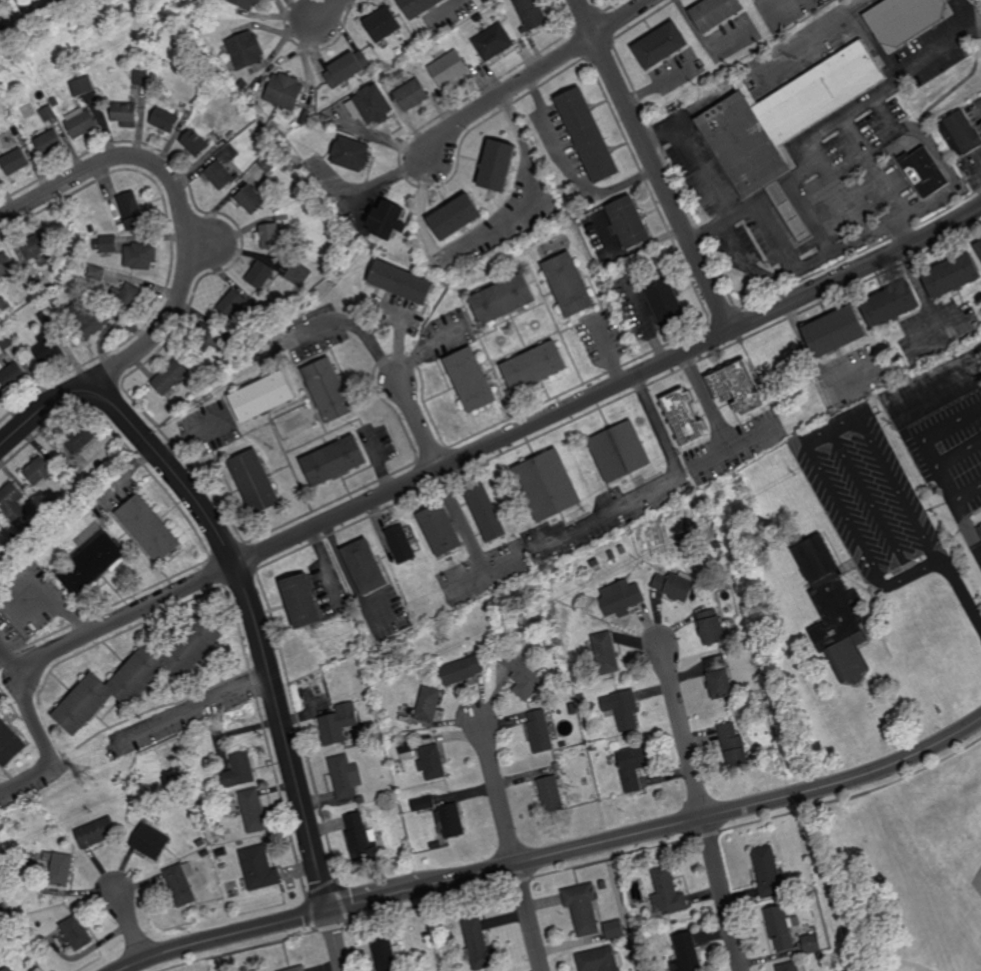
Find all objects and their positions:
building: (760, 1)
building: (244, 3)
building: (420, 8)
building: (238, 13)
road: (317, 13)
road: (966, 13)
building: (716, 14)
building: (531, 15)
building: (479, 19)
building: (906, 20)
building: (382, 25)
building: (202, 30)
road: (808, 33)
road: (877, 41)
building: (494, 43)
building: (660, 46)
building: (143, 48)
building: (246, 51)
building: (348, 70)
building: (449, 70)
road: (532, 72)
building: (76, 73)
building: (400, 75)
building: (141, 77)
building: (243, 85)
building: (82, 86)
building: (285, 93)
building: (413, 96)
building: (307, 100)
building: (54, 102)
building: (373, 105)
road: (850, 111)
building: (47, 114)
building: (125, 115)
building: (304, 116)
building: (326, 119)
building: (165, 121)
building: (81, 124)
building: (295, 125)
building: (784, 125)
building: (589, 135)
building: (960, 136)
building: (195, 141)
building: (48, 143)
building: (351, 151)
building: (15, 160)
building: (268, 161)
building: (498, 164)
road: (655, 166)
building: (925, 172)
building: (220, 174)
road: (701, 177)
building: (307, 190)
building: (250, 198)
building: (132, 211)
building: (456, 214)
road: (183, 215)
building: (389, 219)
building: (630, 222)
building: (90, 228)
road: (492, 233)
building: (268, 235)
building: (105, 244)
building: (35, 245)
building: (81, 248)
building: (979, 249)
building: (78, 255)
building: (140, 255)
building: (5, 263)
road: (804, 265)
building: (95, 272)
building: (298, 273)
building: (261, 275)
building: (952, 276)
building: (401, 283)
building: (568, 283)
building: (128, 297)
building: (503, 297)
building: (664, 300)
building: (231, 304)
building: (4, 305)
building: (891, 305)
building: (87, 317)
building: (45, 318)
building: (266, 320)
road: (362, 330)
building: (835, 332)
building: (209, 336)
building: (5, 341)
building: (243, 344)
building: (47, 348)
road: (421, 353)
road: (610, 355)
road: (810, 356)
building: (534, 365)
building: (12, 375)
building: (170, 376)
building: (471, 378)
building: (738, 389)
building: (329, 390)
road: (609, 390)
building: (262, 398)
road: (708, 402)
road: (839, 414)
building: (685, 418)
road: (136, 428)
road: (419, 428)
building: (80, 438)
road: (189, 439)
road: (810, 446)
road: (733, 447)
building: (621, 451)
road: (929, 453)
road: (959, 456)
building: (334, 461)
building: (38, 469)
building: (255, 483)
building: (549, 485)
road: (659, 490)
building: (13, 502)
building: (52, 508)
road: (932, 508)
building: (485, 514)
road: (967, 524)
building: (150, 528)
building: (980, 528)
building: (442, 531)
building: (33, 533)
road: (468, 539)
building: (401, 544)
building: (718, 545)
building: (612, 555)
building: (93, 563)
building: (595, 565)
building: (365, 566)
power tower: (553, 569)
road: (468, 579)
building: (675, 585)
road: (960, 593)
building: (621, 598)
building: (301, 601)
building: (835, 611)
road: (125, 617)
building: (549, 618)
building: (712, 627)
building: (487, 641)
building: (605, 652)
building: (462, 668)
building: (422, 672)
building: (434, 674)
building: (522, 675)
building: (137, 676)
building: (720, 678)
building: (581, 697)
building: (370, 702)
building: (429, 704)
road: (196, 705)
building: (574, 708)
building: (622, 709)
building: (338, 723)
road: (37, 728)
building: (540, 732)
road: (682, 732)
road: (285, 737)
building: (582, 740)
building: (10, 744)
building: (593, 747)
building: (735, 747)
building: (406, 751)
building: (432, 763)
building: (588, 765)
building: (633, 767)
building: (237, 772)
building: (184, 775)
building: (344, 776)
power tower: (84, 777)
building: (551, 793)
road: (497, 797)
building: (361, 800)
building: (423, 805)
building: (251, 810)
building: (450, 820)
road: (659, 829)
building: (97, 833)
building: (361, 838)
building: (151, 842)
building: (201, 842)
building: (221, 852)
building: (204, 853)
building: (258, 867)
building: (61, 870)
building: (769, 872)
road: (829, 882)
building: (181, 883)
park: (887, 883)
building: (794, 886)
building: (667, 892)
road: (723, 894)
building: (2, 907)
building: (582, 907)
building: (814, 909)
road: (530, 917)
building: (643, 920)
building: (781, 926)
road: (130, 927)
building: (613, 929)
building: (77, 932)
road: (222, 937)
road: (335, 941)
building: (813, 942)
building: (479, 944)
building: (22, 950)
building: (384, 953)
building: (688, 953)
building: (821, 955)
building: (597, 960)
road: (893, 960)
building: (789, 966)
building: (295, 968)
building: (9, 969)

